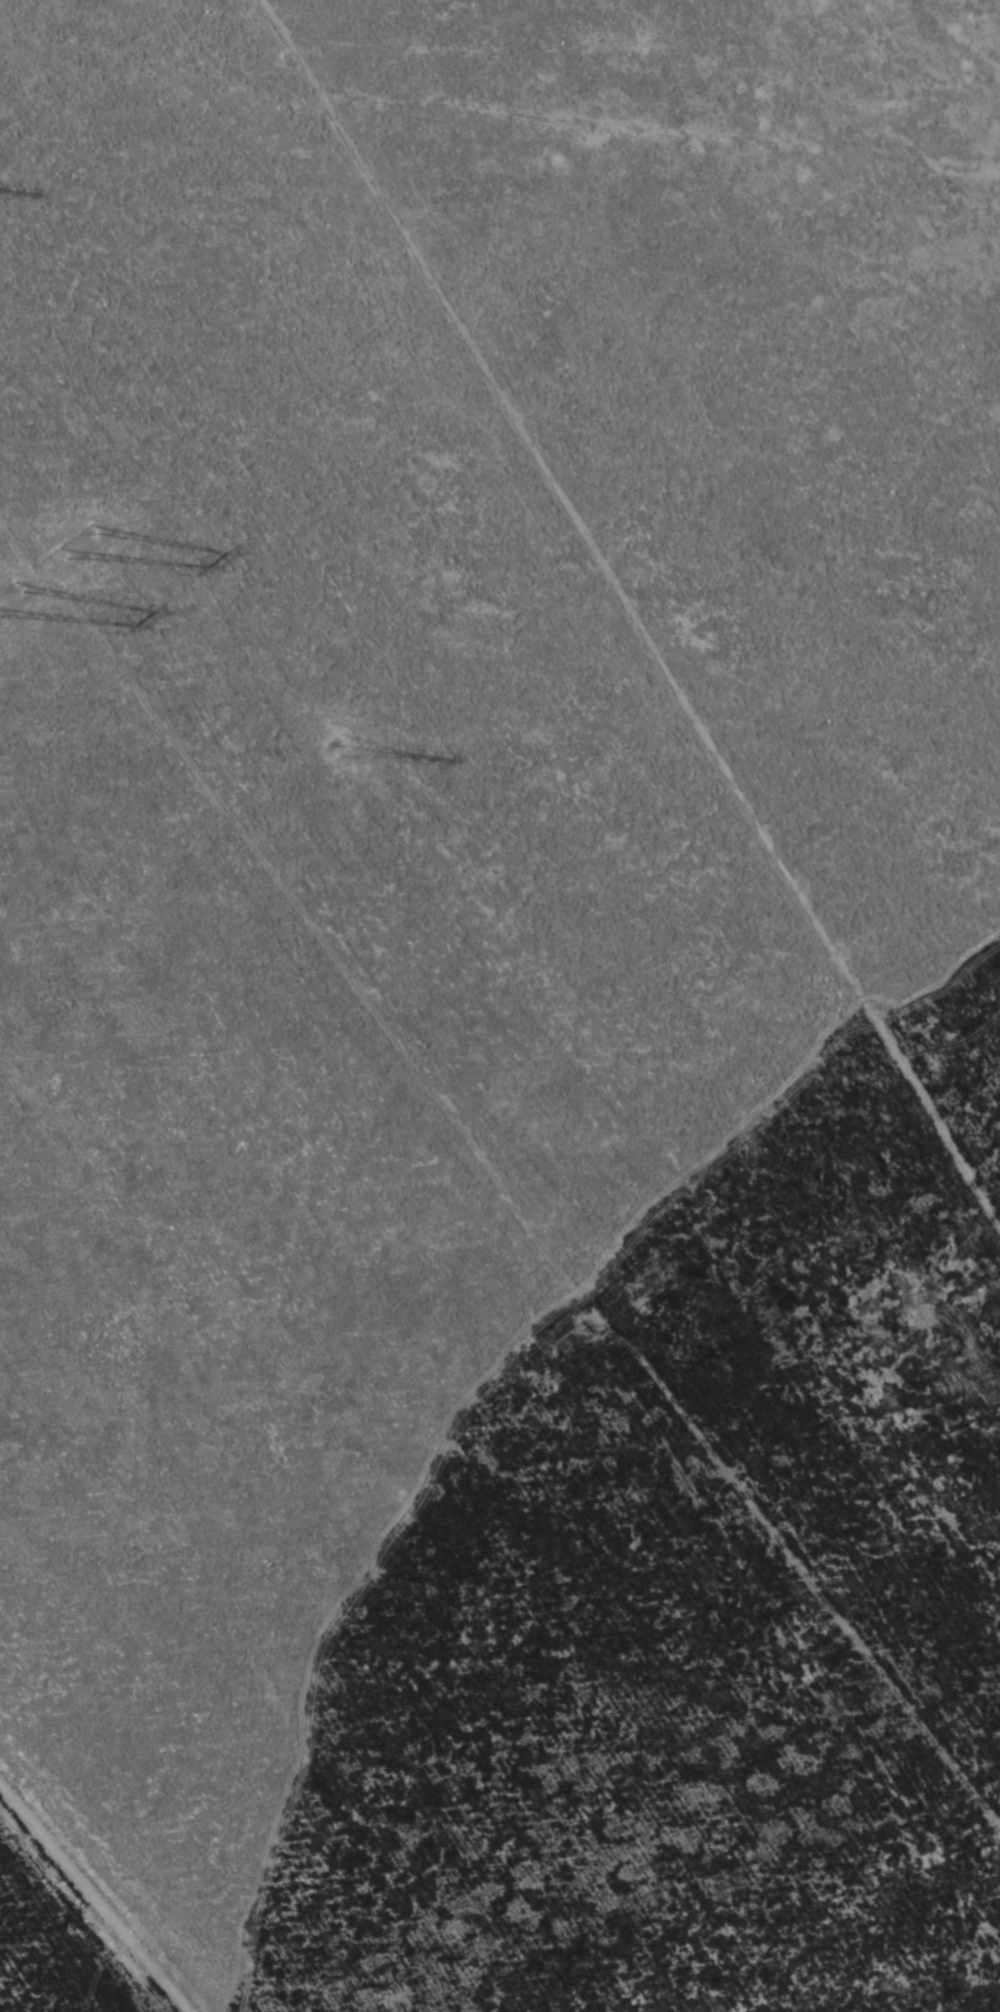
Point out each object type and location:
power tower: (74, 539)
power tower: (6, 604)
power tower: (336, 743)
power tower: (633, 1279)
power tower: (774, 1314)
power tower: (566, 1344)
road: (81, 1912)

